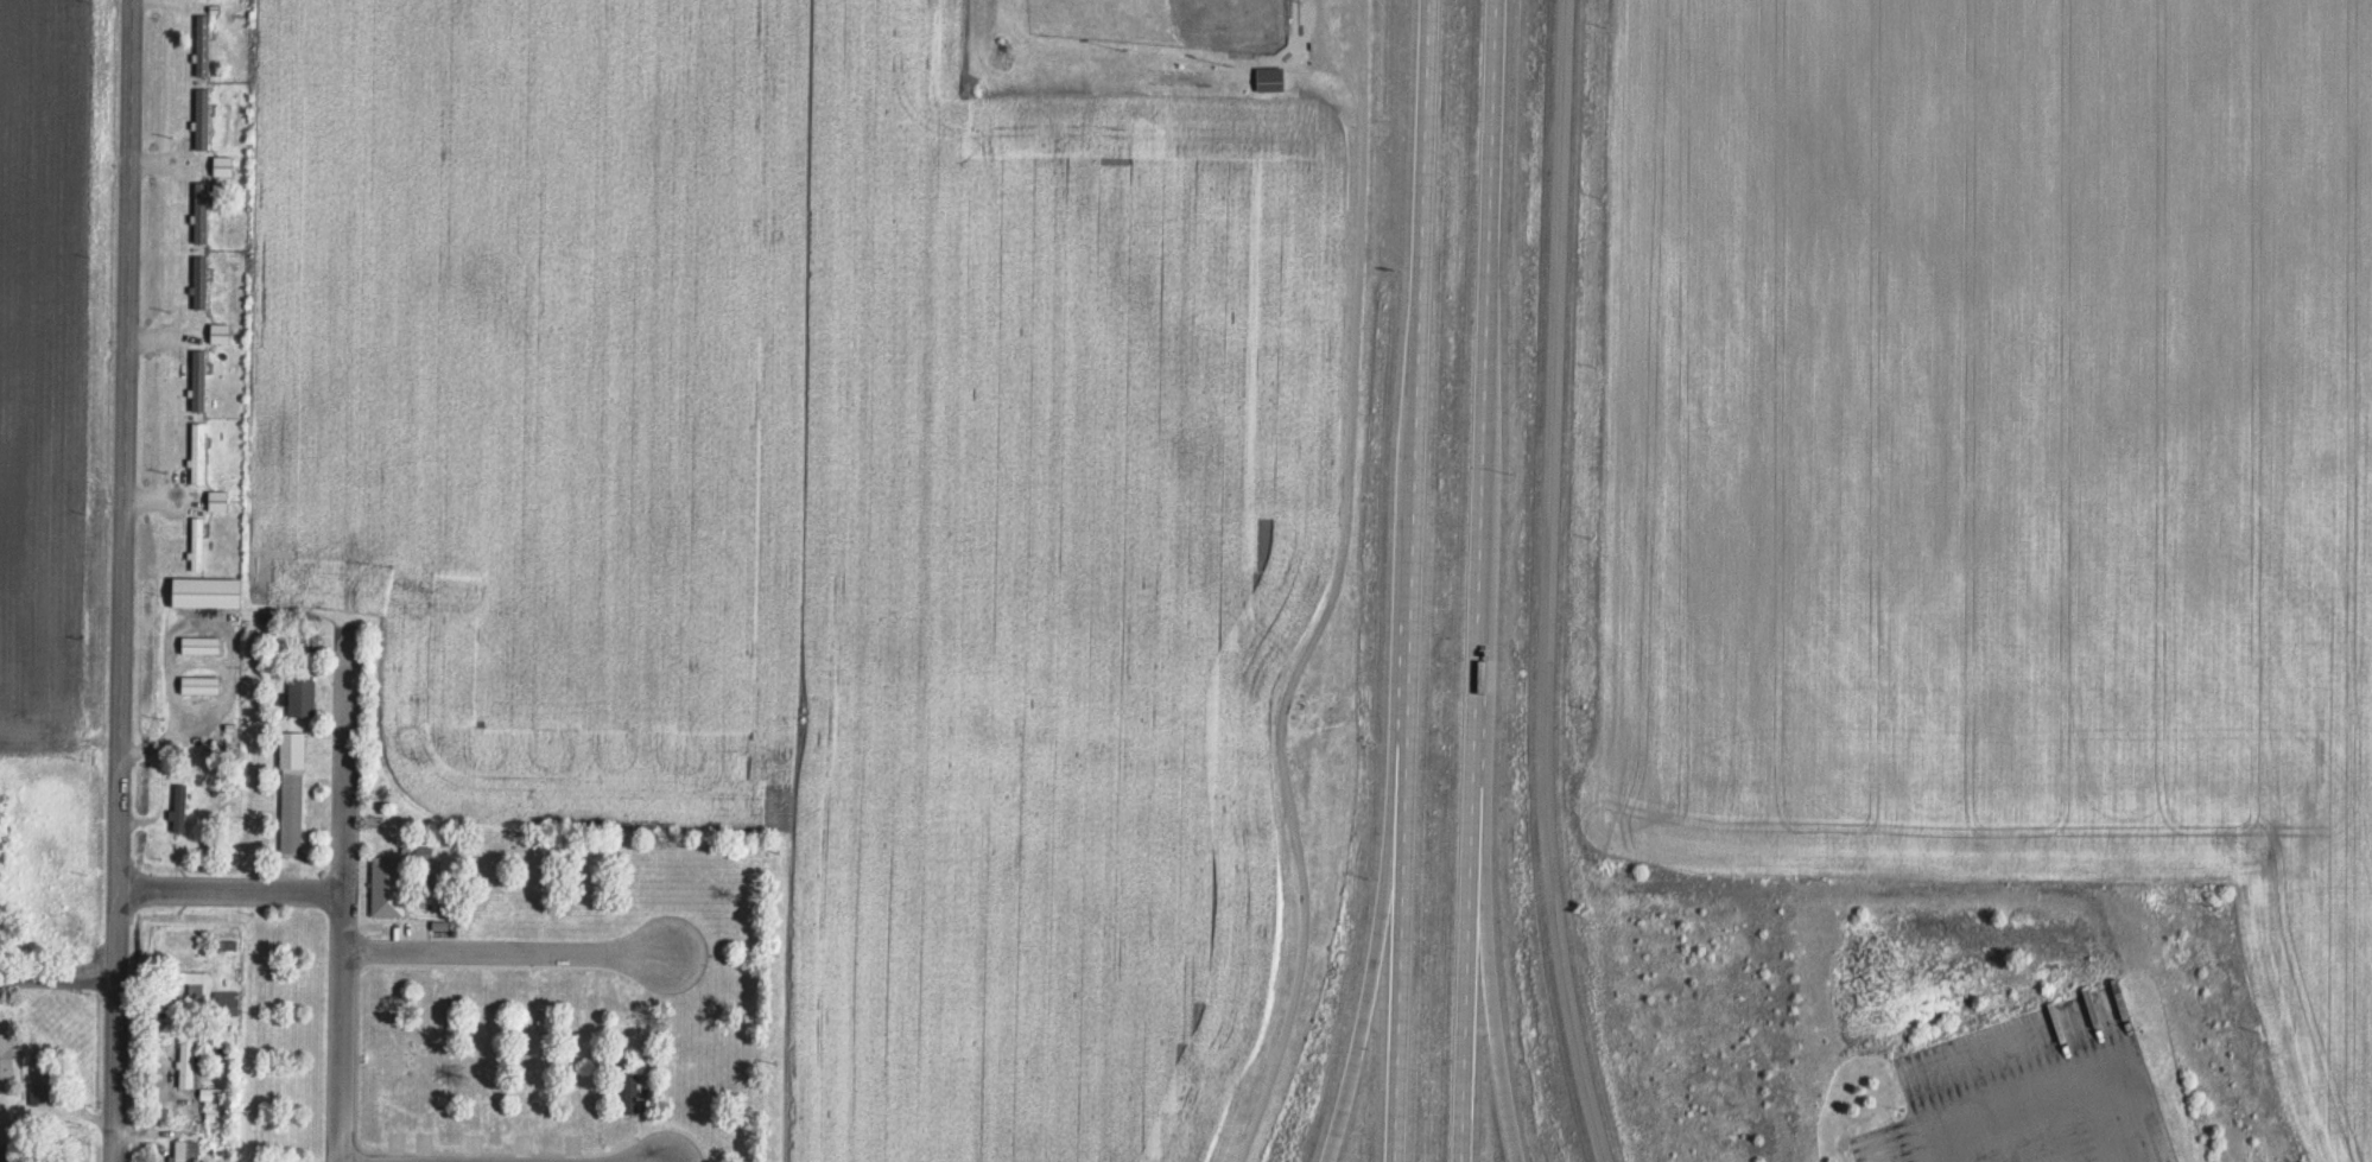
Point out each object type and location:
park: (1168, 20)
building: (204, 44)
building: (1274, 78)
building: (203, 118)
building: (227, 165)
building: (203, 211)
building: (202, 280)
building: (223, 332)
building: (199, 379)
building: (199, 452)
building: (221, 499)
building: (198, 541)
road: (121, 580)
road: (1412, 580)
road: (1474, 580)
road: (1549, 583)
building: (211, 590)
road: (1337, 593)
building: (204, 642)
building: (204, 682)
building: (304, 694)
building: (296, 789)
building: (180, 806)
building: (392, 884)
road: (232, 893)
road: (344, 895)
building: (1460, 897)
road: (505, 950)
road: (1489, 952)
road: (1377, 970)
road: (58, 982)
building: (198, 982)
building: (228, 996)
building: (8, 1055)
building: (190, 1058)
building: (218, 1092)
building: (217, 1113)
building: (189, 1149)

